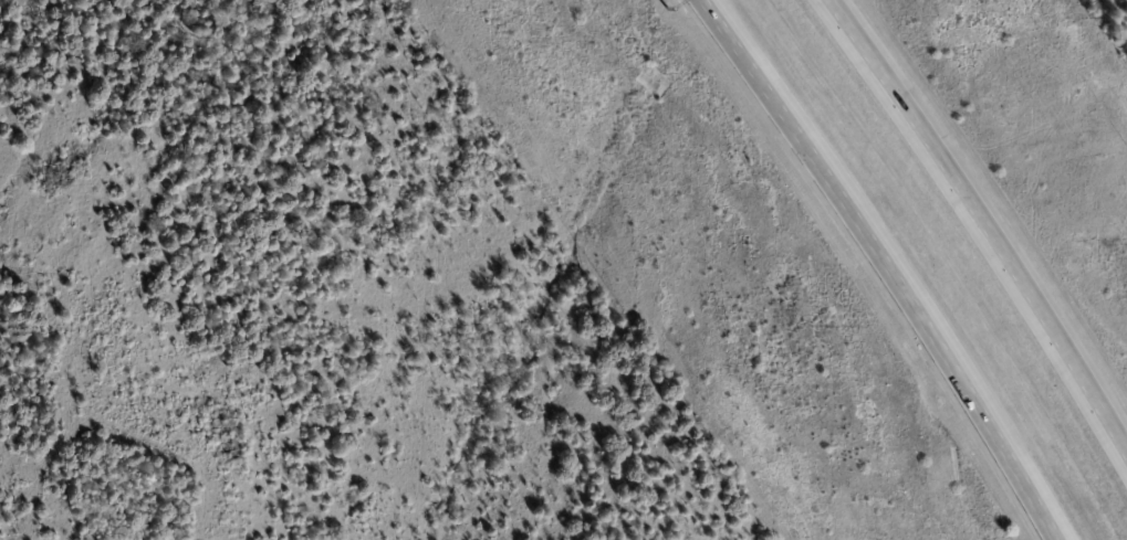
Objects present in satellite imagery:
road: (982, 218)
road: (897, 264)

